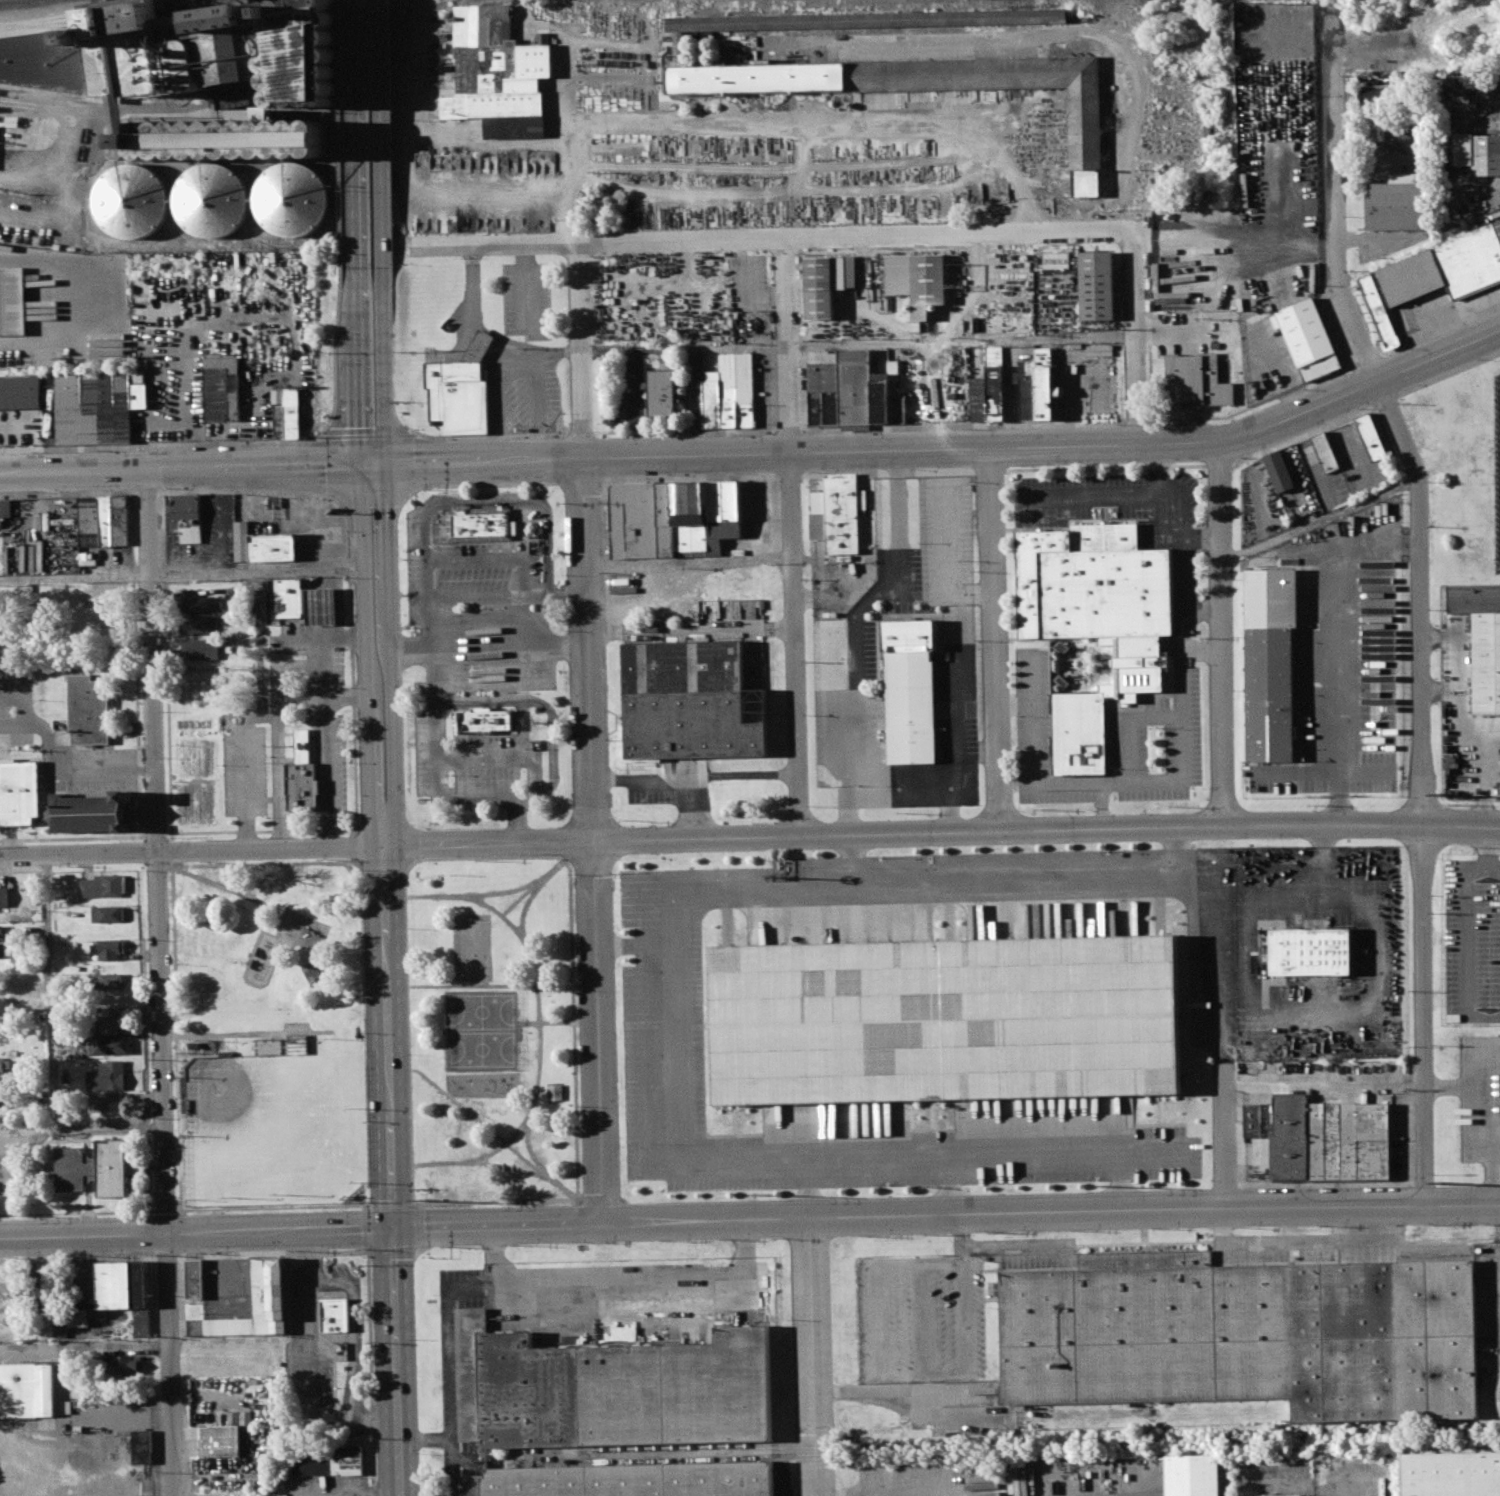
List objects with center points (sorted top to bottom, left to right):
railway: (30, 4)
building: (865, 19)
building: (678, 48)
building: (1270, 52)
road: (1417, 59)
building: (497, 71)
building: (195, 73)
building: (755, 78)
building: (1378, 94)
road: (813, 117)
road: (341, 134)
road: (376, 134)
road: (353, 135)
building: (1484, 154)
building: (213, 201)
building: (294, 201)
building: (1401, 201)
building: (132, 203)
road: (569, 207)
building: (1497, 229)
road: (852, 235)
road: (488, 240)
building: (1055, 260)
building: (1446, 268)
building: (918, 279)
building: (826, 281)
road: (526, 283)
building: (1096, 284)
building: (12, 300)
building: (1378, 309)
road: (1439, 328)
road: (1133, 337)
road: (483, 340)
building: (1308, 340)
road: (858, 345)
road: (335, 356)
road: (1369, 357)
building: (1196, 381)
building: (1045, 383)
building: (994, 384)
building: (855, 386)
building: (222, 389)
building: (729, 389)
building: (746, 389)
building: (1027, 389)
building: (461, 391)
building: (20, 392)
building: (662, 394)
building: (824, 394)
building: (880, 397)
building: (712, 399)
building: (978, 399)
road: (1256, 403)
road: (1391, 410)
building: (286, 413)
road: (1135, 421)
road: (959, 426)
road: (787, 427)
road: (685, 430)
flagpole: (518, 431)
road: (579, 433)
road: (365, 435)
road: (489, 435)
building: (1371, 438)
road: (158, 444)
road: (760, 451)
building: (1325, 452)
road: (410, 463)
traffic signals: (384, 467)
traffic signals: (359, 468)
parking lot: (1497, 469)
building: (1280, 472)
street lamp: (430, 492)
street lamp: (507, 493)
street lamp: (439, 494)
road: (895, 497)
road: (1123, 497)
road: (544, 507)
building: (6, 508)
building: (0, 514)
building: (837, 515)
building: (705, 516)
building: (187, 517)
road: (1319, 519)
building: (120, 520)
building: (642, 520)
building: (89, 521)
building: (106, 521)
building: (481, 523)
road: (521, 529)
road: (795, 535)
parking lot: (42, 536)
road: (1202, 537)
building: (262, 545)
road: (1299, 551)
road: (386, 558)
road: (494, 558)
road: (361, 559)
road: (1184, 563)
road: (256, 570)
road: (75, 578)
road: (570, 596)
building: (289, 599)
building: (204, 605)
building: (321, 606)
road: (859, 611)
road: (520, 622)
building: (1096, 622)
building: (200, 624)
road: (431, 625)
building: (1, 626)
road: (1223, 632)
road: (993, 638)
building: (1482, 640)
road: (259, 644)
road: (489, 646)
road: (1340, 646)
building: (202, 648)
road: (399, 650)
building: (910, 692)
building: (1270, 694)
building: (690, 700)
road: (1012, 706)
building: (89, 710)
road: (270, 718)
building: (485, 720)
road: (553, 724)
road: (593, 729)
road: (325, 752)
road: (848, 761)
road: (279, 763)
parking lot: (245, 765)
road: (245, 775)
building: (302, 775)
road: (747, 777)
road: (672, 778)
road: (1127, 781)
road: (436, 784)
building: (19, 795)
road: (1100, 805)
building: (93, 814)
road: (1008, 830)
road: (404, 843)
road: (258, 849)
road: (851, 857)
road: (266, 863)
road: (383, 865)
road: (407, 870)
building: (103, 886)
road: (507, 891)
building: (4, 896)
road: (518, 899)
building: (108, 914)
road: (502, 915)
road: (1220, 931)
building: (1, 932)
parking lot: (1472, 941)
road: (636, 945)
park: (472, 946)
road: (322, 948)
building: (1, 950)
building: (109, 950)
road: (175, 951)
building: (1312, 952)
building: (312, 976)
building: (110, 982)
road: (159, 982)
road: (525, 987)
park: (481, 1011)
road: (1329, 1016)
road: (1423, 1016)
road: (49, 1019)
building: (946, 1020)
building: (111, 1021)
road: (548, 1021)
road: (675, 1025)
park: (492, 1031)
road: (255, 1034)
park: (269, 1036)
road: (310, 1041)
building: (110, 1045)
park: (481, 1049)
building: (2, 1064)
building: (108, 1077)
building: (554, 1093)
road: (1488, 1114)
road: (526, 1116)
building: (1253, 1119)
road: (108, 1128)
road: (524, 1129)
park: (270, 1130)
road: (492, 1133)
road: (1224, 1137)
building: (1331, 1138)
road: (528, 1142)
road: (486, 1159)
road: (510, 1166)
building: (95, 1168)
road: (391, 1171)
road: (1119, 1182)
road: (949, 1187)
road: (808, 1190)
road: (420, 1201)
road: (417, 1204)
road: (392, 1206)
road: (749, 1219)
traffic signals: (392, 1227)
road: (417, 1227)
road: (369, 1228)
road: (392, 1249)
road: (311, 1259)
building: (196, 1280)
building: (115, 1285)
building: (40, 1291)
building: (141, 1299)
building: (256, 1304)
building: (335, 1315)
building: (85, 1316)
building: (60, 1328)
road: (354, 1333)
building: (1248, 1335)
road: (84, 1344)
parking lot: (310, 1347)
road: (815, 1357)
building: (121, 1364)
road: (371, 1373)
building: (27, 1390)
building: (610, 1390)
road: (313, 1397)
road: (452, 1440)
building: (220, 1441)
railway: (1040, 1446)
building: (141, 1447)
railway: (777, 1457)
building: (325, 1461)
building: (1451, 1474)
building: (1193, 1475)
parking lot: (928, 1478)
building: (625, 1480)
road: (913, 1494)
building: (1281, 1495)

